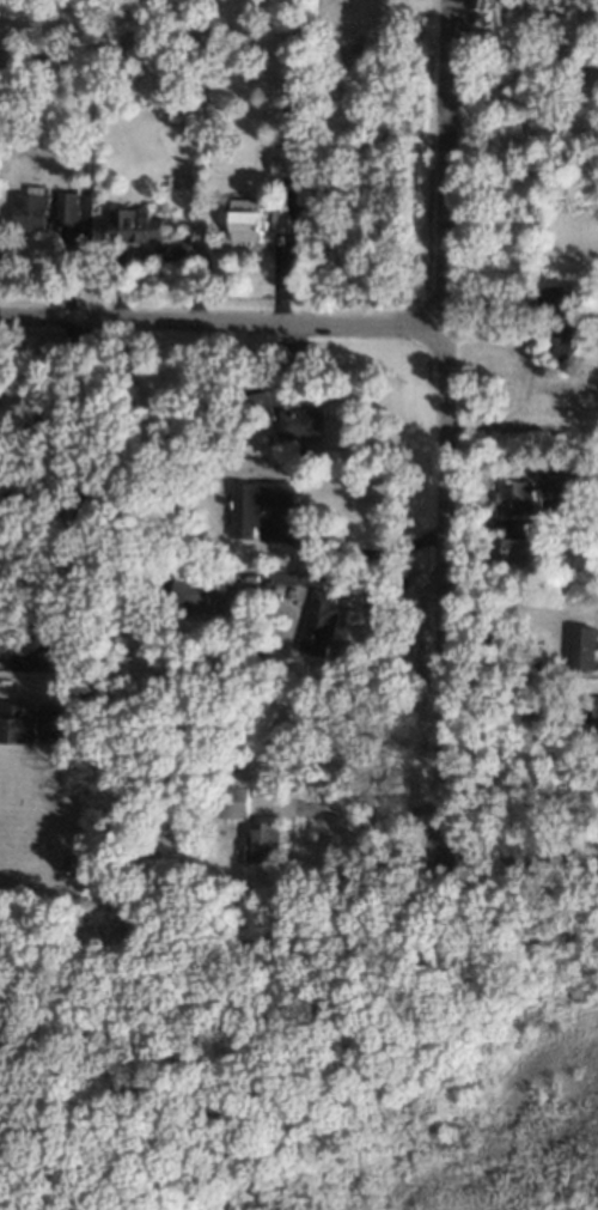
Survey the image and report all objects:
road: (459, 41)
building: (297, 63)
road: (525, 99)
building: (288, 159)
building: (68, 207)
building: (31, 209)
building: (283, 215)
building: (250, 219)
building: (139, 224)
road: (224, 321)
building: (568, 341)
road: (44, 413)
building: (305, 422)
road: (447, 427)
building: (559, 475)
road: (80, 484)
building: (518, 497)
building: (261, 503)
building: (518, 547)
road: (364, 551)
building: (324, 621)
building: (585, 646)
road: (531, 657)
building: (596, 706)
building: (66, 728)
building: (239, 801)
crop: (47, 809)
road: (365, 819)
building: (267, 841)
road: (519, 859)

